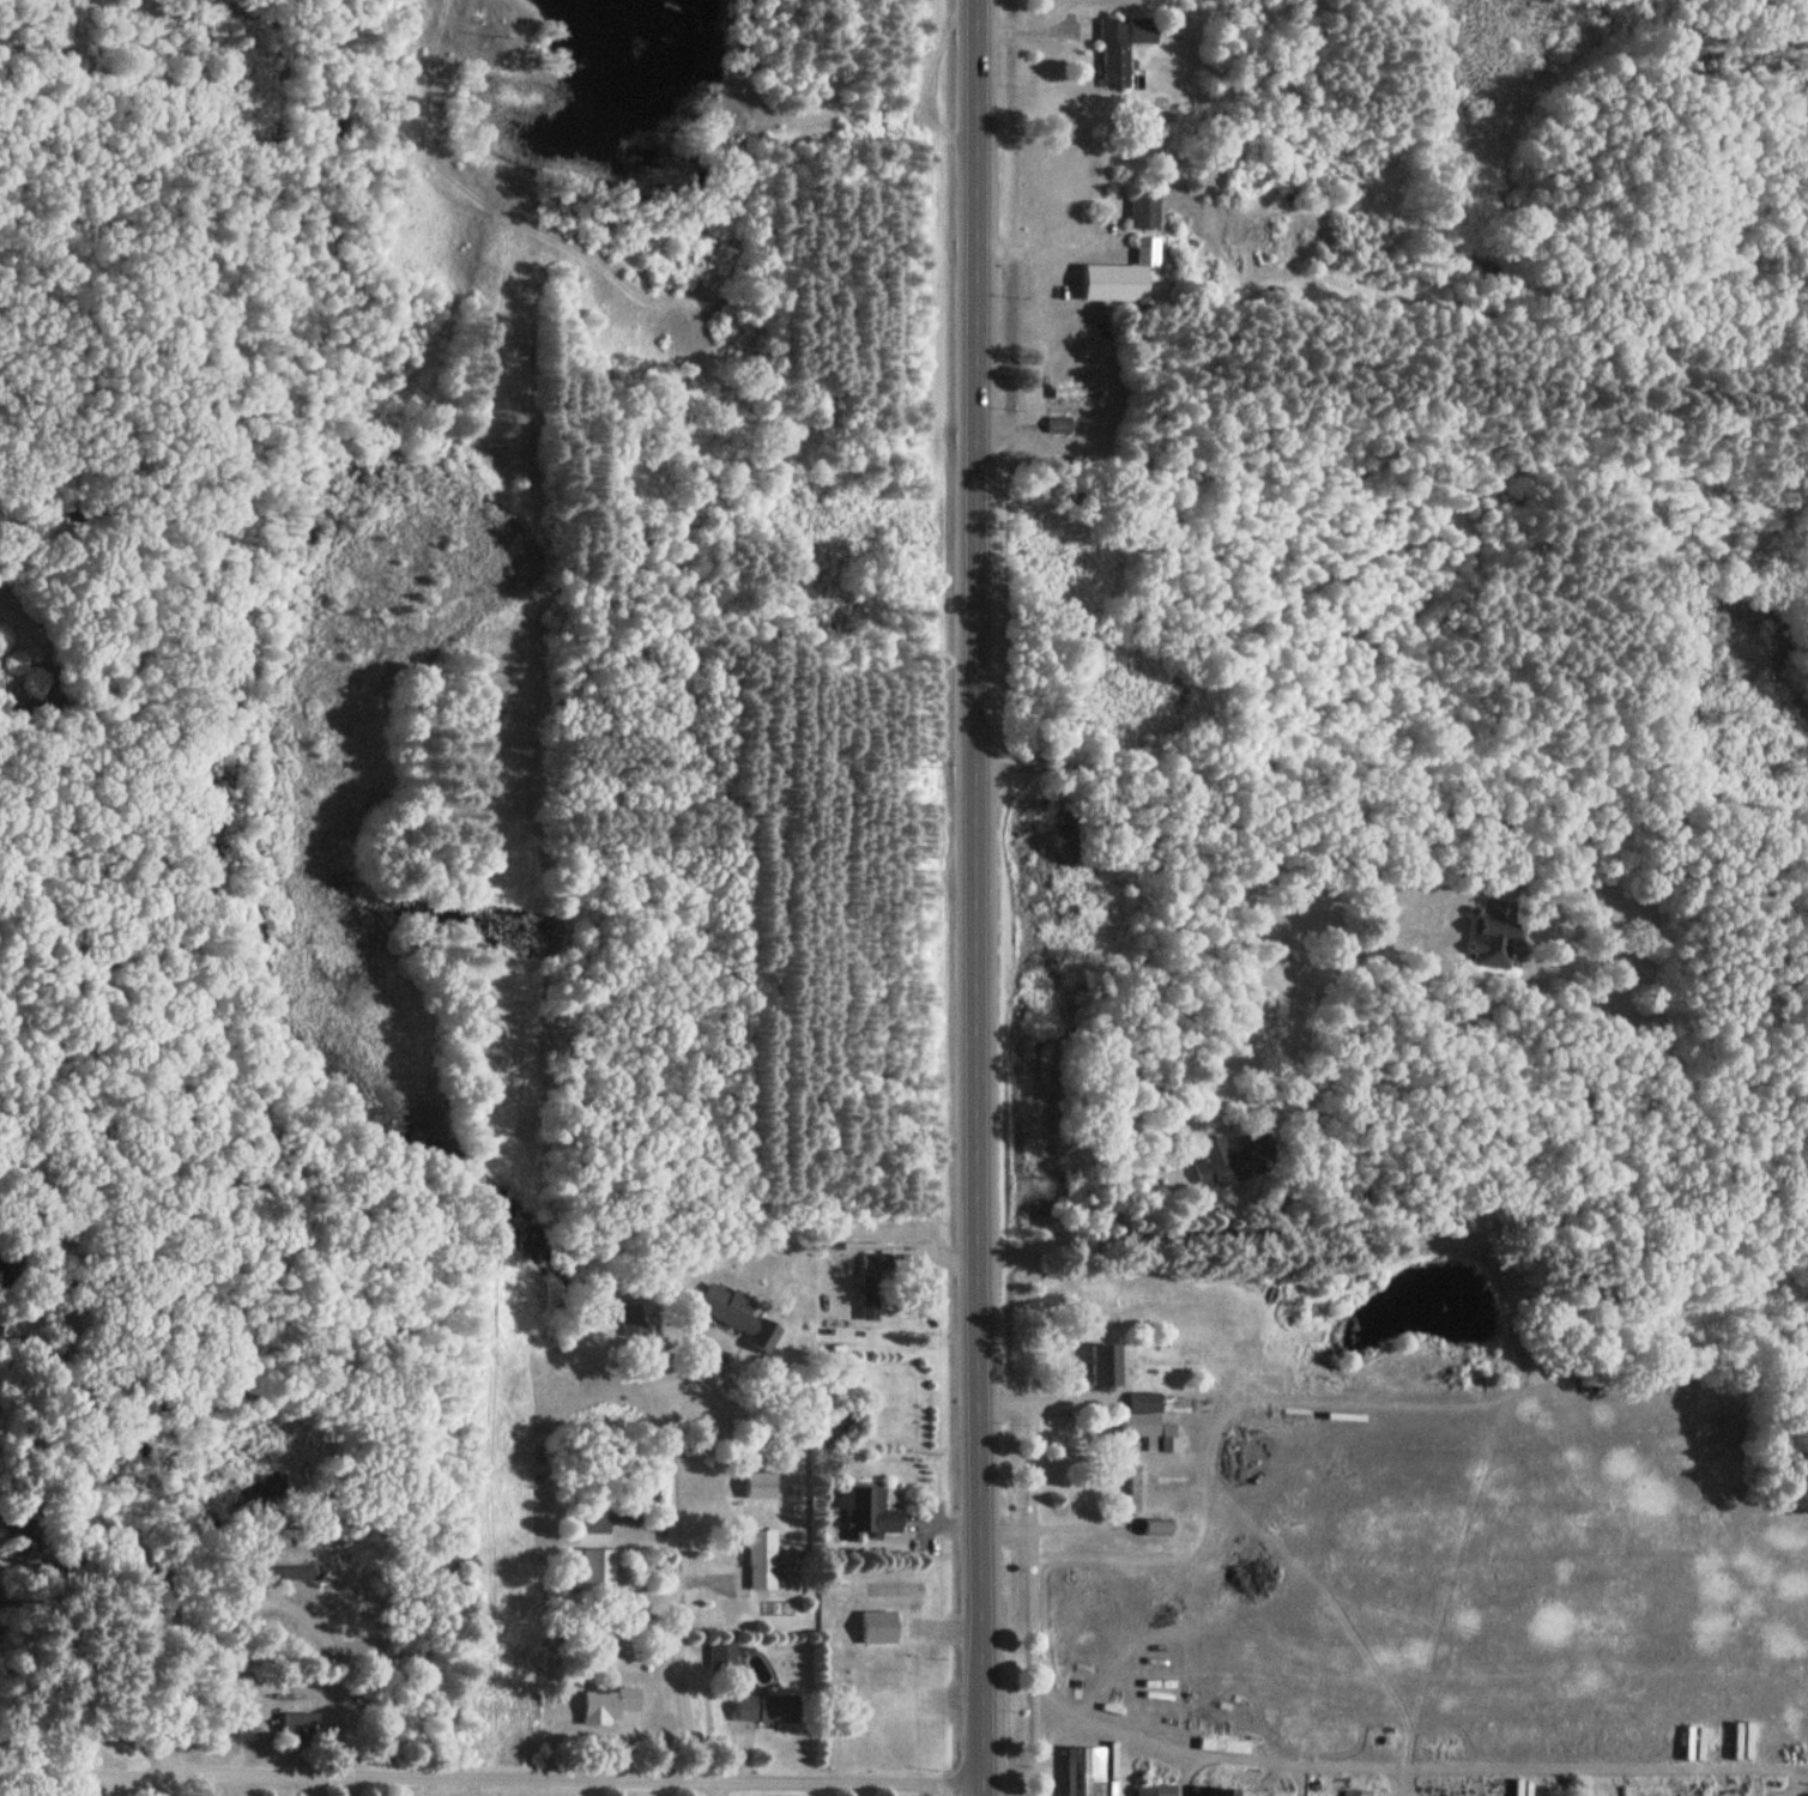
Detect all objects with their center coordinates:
building: (1125, 49)
building: (1147, 210)
building: (1149, 252)
building: (1080, 395)
building: (1062, 427)
road: (975, 897)
building: (1494, 936)
building: (1234, 1162)
road: (1391, 1241)
building: (875, 1284)
building: (739, 1318)
building: (1107, 1369)
building: (1147, 1404)
building: (762, 1487)
building: (870, 1512)
road: (1050, 1525)
building: (763, 1561)
road: (663, 1582)
building: (885, 1627)
building: (725, 1658)
building: (610, 1706)
building: (769, 1710)
building: (302, 1729)
building: (1099, 1768)
road: (491, 1780)
building: (1156, 1791)
building: (1221, 1792)
building: (1356, 1794)

